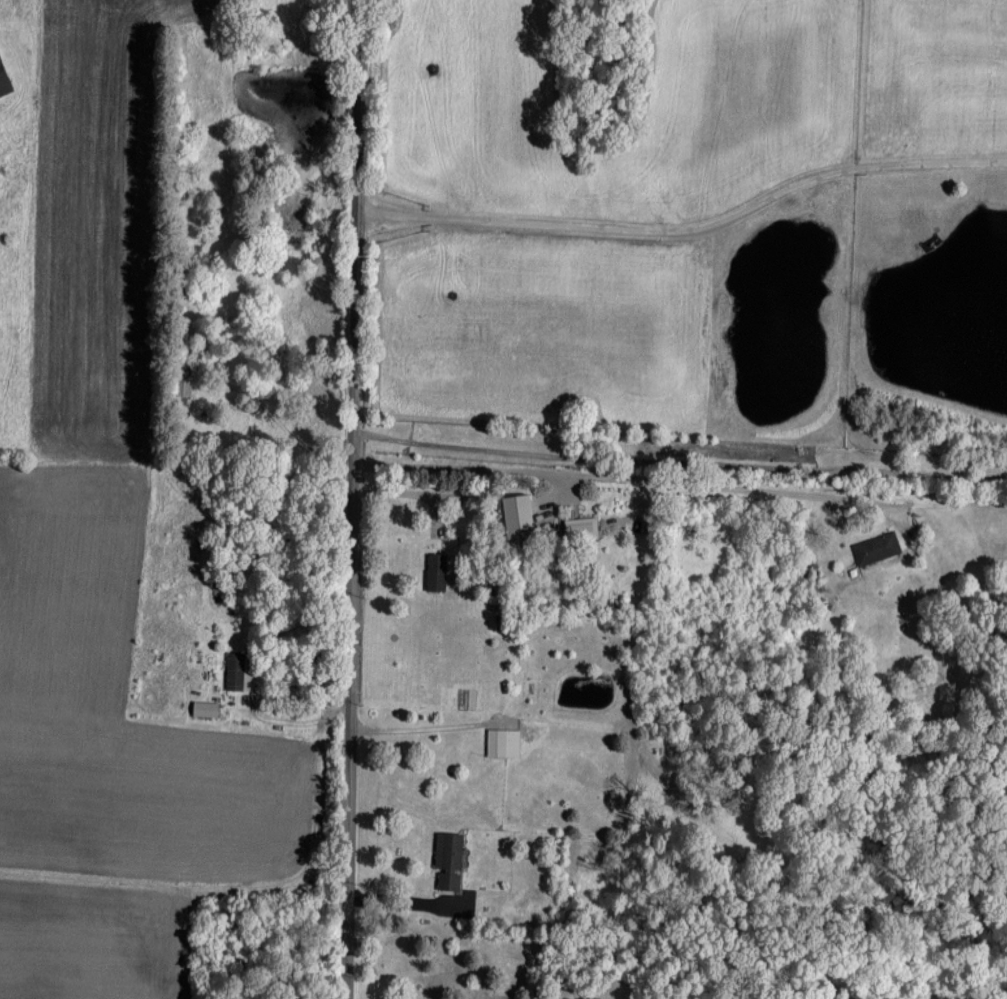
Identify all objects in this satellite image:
building: (4, 79)
road: (681, 460)
road: (631, 473)
road: (406, 490)
road: (353, 499)
building: (517, 515)
building: (580, 527)
building: (875, 547)
building: (436, 571)
building: (237, 670)
building: (204, 707)
building: (502, 741)
building: (448, 858)

